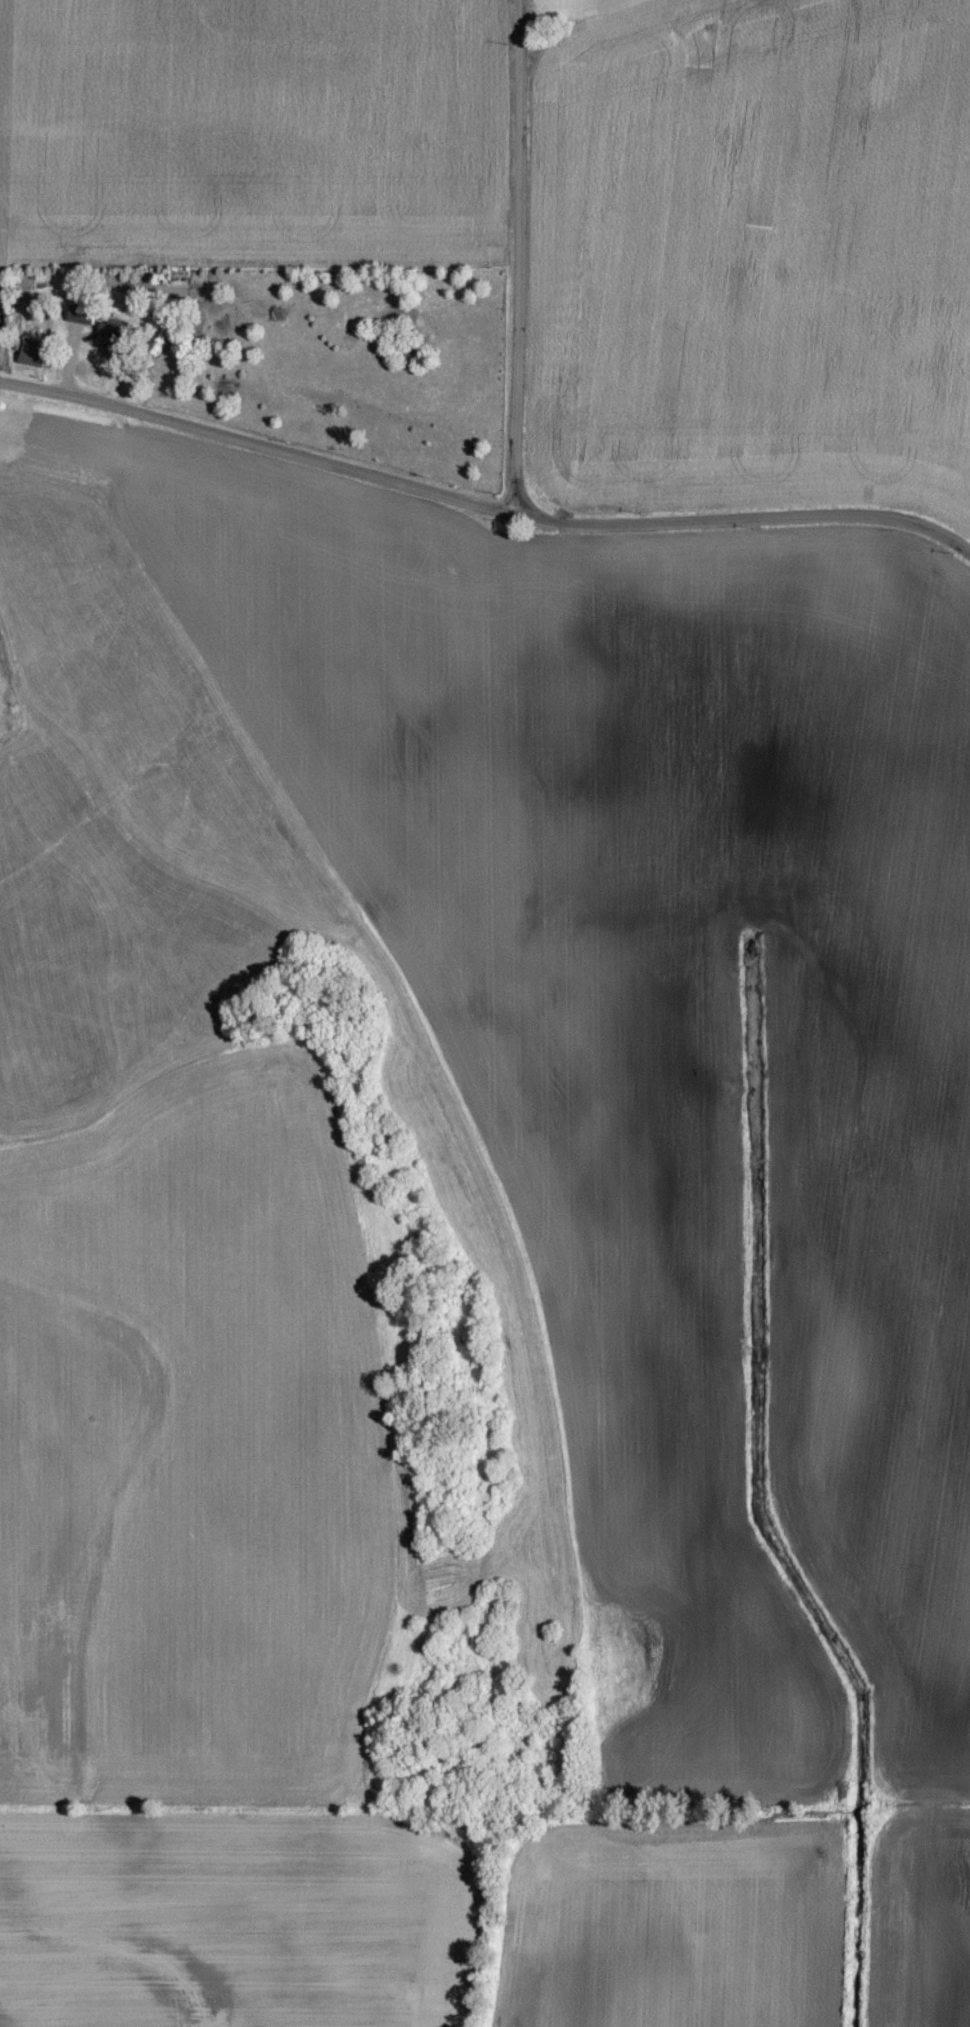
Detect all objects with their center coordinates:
road: (518, 255)
building: (84, 323)
building: (34, 360)
road: (482, 502)

